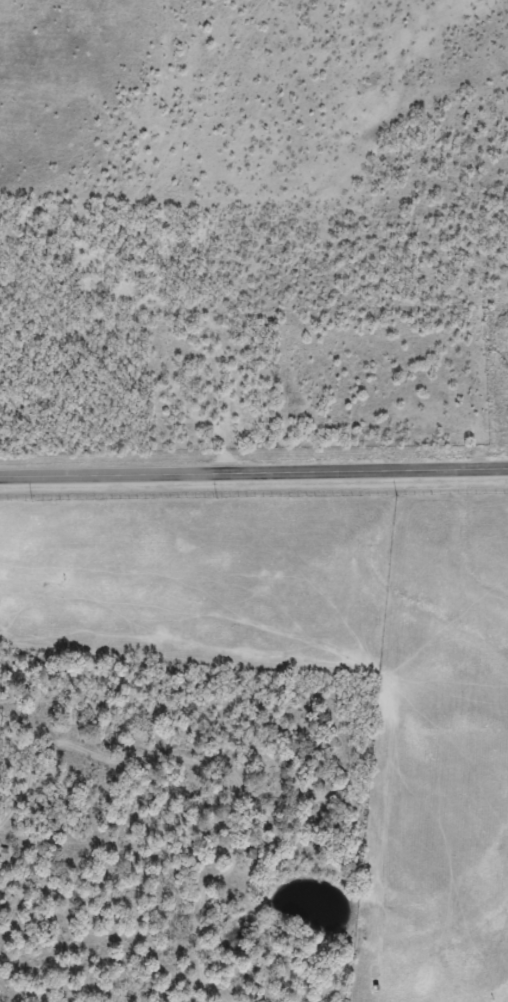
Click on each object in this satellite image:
road: (254, 474)

